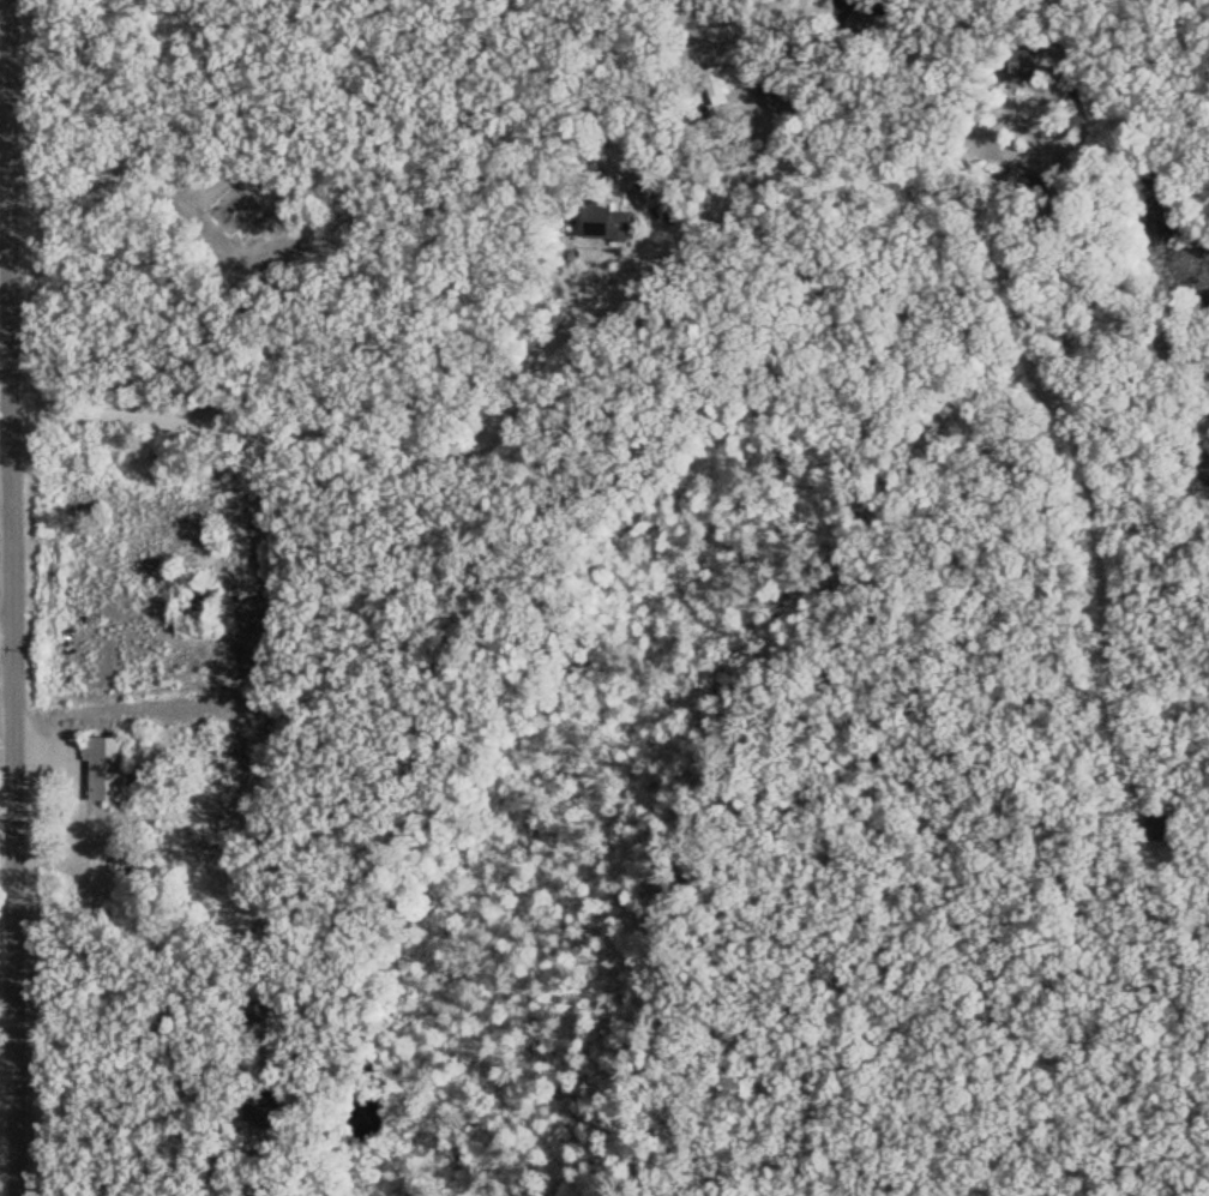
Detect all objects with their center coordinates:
building: (873, 19)
building: (732, 78)
road: (11, 200)
building: (630, 209)
road: (822, 294)
road: (535, 356)
road: (1100, 581)
road: (7, 638)
building: (112, 765)
road: (14, 798)
road: (8, 1156)

